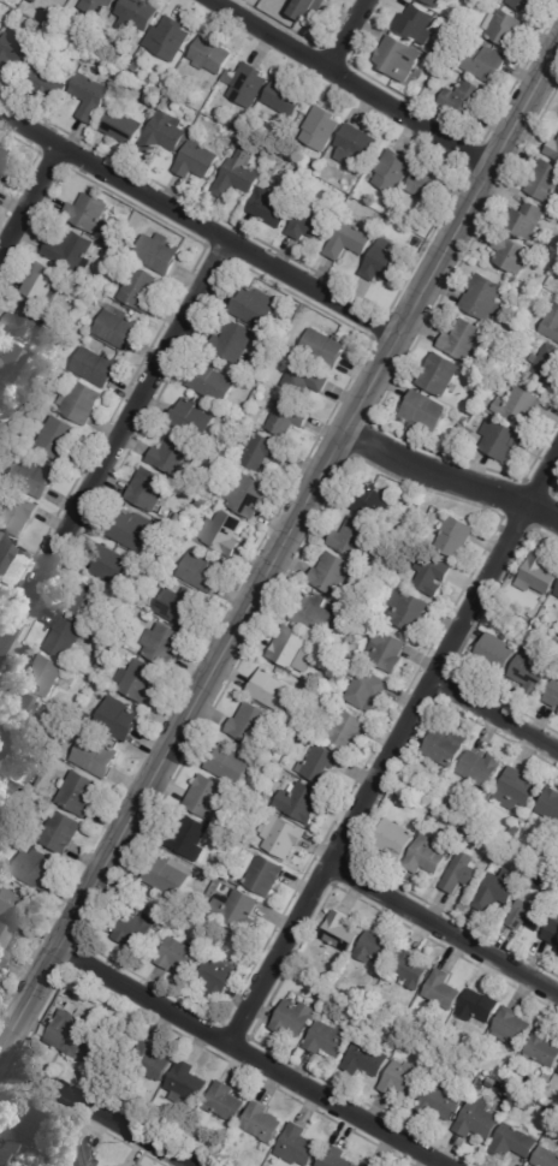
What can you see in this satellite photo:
building: (18, 0)
building: (435, 2)
building: (526, 4)
building: (102, 8)
building: (308, 8)
building: (138, 12)
building: (44, 16)
building: (414, 22)
building: (504, 29)
road: (352, 37)
building: (168, 38)
building: (89, 46)
building: (16, 50)
building: (210, 55)
building: (398, 58)
building: (483, 63)
building: (136, 66)
building: (46, 82)
road: (345, 83)
building: (245, 84)
building: (89, 96)
building: (284, 99)
building: (464, 99)
building: (200, 107)
building: (237, 125)
building: (121, 126)
building: (321, 129)
building: (161, 135)
building: (355, 145)
building: (553, 149)
building: (197, 161)
building: (314, 162)
building: (4, 163)
building: (263, 163)
building: (392, 171)
building: (238, 174)
building: (545, 183)
building: (425, 184)
road: (31, 204)
building: (272, 207)
building: (85, 212)
building: (526, 220)
building: (310, 221)
road: (194, 225)
building: (349, 240)
building: (420, 242)
building: (551, 246)
building: (69, 250)
building: (159, 254)
building: (512, 255)
building: (382, 263)
building: (113, 270)
building: (40, 281)
building: (138, 288)
building: (483, 297)
building: (255, 307)
building: (24, 321)
building: (284, 321)
building: (552, 325)
building: (117, 328)
building: (463, 340)
building: (233, 341)
building: (271, 345)
building: (325, 347)
building: (13, 364)
building: (547, 364)
building: (94, 367)
building: (440, 374)
building: (507, 376)
building: (304, 379)
building: (212, 382)
building: (4, 395)
building: (487, 400)
building: (79, 401)
building: (521, 407)
building: (425, 414)
building: (287, 416)
building: (192, 418)
building: (464, 421)
building: (461, 428)
building: (469, 433)
building: (57, 439)
building: (452, 439)
building: (504, 440)
road: (113, 446)
building: (218, 448)
building: (261, 451)
building: (172, 456)
road: (452, 477)
building: (34, 478)
building: (150, 492)
building: (245, 496)
building: (375, 502)
building: (19, 516)
building: (176, 520)
building: (131, 529)
building: (221, 533)
building: (355, 535)
building: (455, 535)
building: (180, 539)
road: (283, 547)
building: (6, 552)
building: (109, 566)
building: (202, 572)
building: (539, 572)
building: (332, 573)
building: (432, 573)
building: (557, 591)
building: (85, 602)
building: (180, 607)
building: (410, 609)
building: (310, 612)
building: (65, 639)
building: (162, 644)
building: (290, 647)
building: (386, 650)
building: (499, 652)
building: (96, 666)
building: (533, 671)
building: (43, 677)
building: (138, 682)
building: (366, 686)
building: (271, 688)
building: (553, 695)
building: (66, 709)
building: (25, 714)
road: (494, 715)
building: (118, 719)
building: (250, 722)
building: (346, 728)
building: (299, 738)
building: (5, 744)
road: (396, 745)
building: (446, 746)
building: (96, 759)
building: (320, 762)
building: (228, 763)
building: (481, 767)
building: (0, 779)
building: (398, 787)
building: (517, 787)
building: (77, 795)
building: (206, 796)
building: (267, 797)
building: (301, 801)
building: (550, 803)
building: (18, 804)
building: (398, 804)
building: (524, 816)
building: (471, 817)
building: (10, 819)
building: (461, 827)
building: (1, 828)
building: (515, 832)
building: (57, 833)
building: (188, 835)
building: (281, 835)
building: (13, 837)
building: (394, 838)
building: (426, 855)
building: (34, 870)
building: (461, 873)
building: (233, 874)
building: (263, 874)
building: (166, 875)
building: (554, 882)
building: (499, 888)
building: (235, 905)
building: (16, 909)
building: (529, 914)
building: (133, 928)
building: (340, 930)
building: (552, 933)
road: (444, 935)
building: (4, 945)
building: (376, 948)
building: (557, 951)
building: (179, 956)
building: (410, 968)
building: (218, 975)
building: (443, 989)
building: (113, 1006)
building: (479, 1007)
building: (125, 1012)
building: (293, 1017)
building: (147, 1023)
building: (512, 1027)
building: (402, 1030)
building: (434, 1030)
building: (67, 1034)
building: (328, 1040)
building: (542, 1047)
building: (94, 1057)
road: (249, 1058)
building: (367, 1058)
building: (150, 1060)
building: (557, 1071)
building: (545, 1078)
building: (405, 1081)
building: (186, 1083)
building: (492, 1083)
building: (479, 1084)
building: (510, 1093)
building: (443, 1100)
building: (225, 1101)
building: (524, 1101)
road: (100, 1106)
building: (32, 1122)
building: (262, 1122)
building: (477, 1122)
building: (514, 1142)
building: (298, 1144)
building: (11, 1153)
building: (81, 1156)
building: (336, 1156)
building: (546, 1158)
building: (369, 1164)
building: (107, 1165)
building: (366, 1165)

